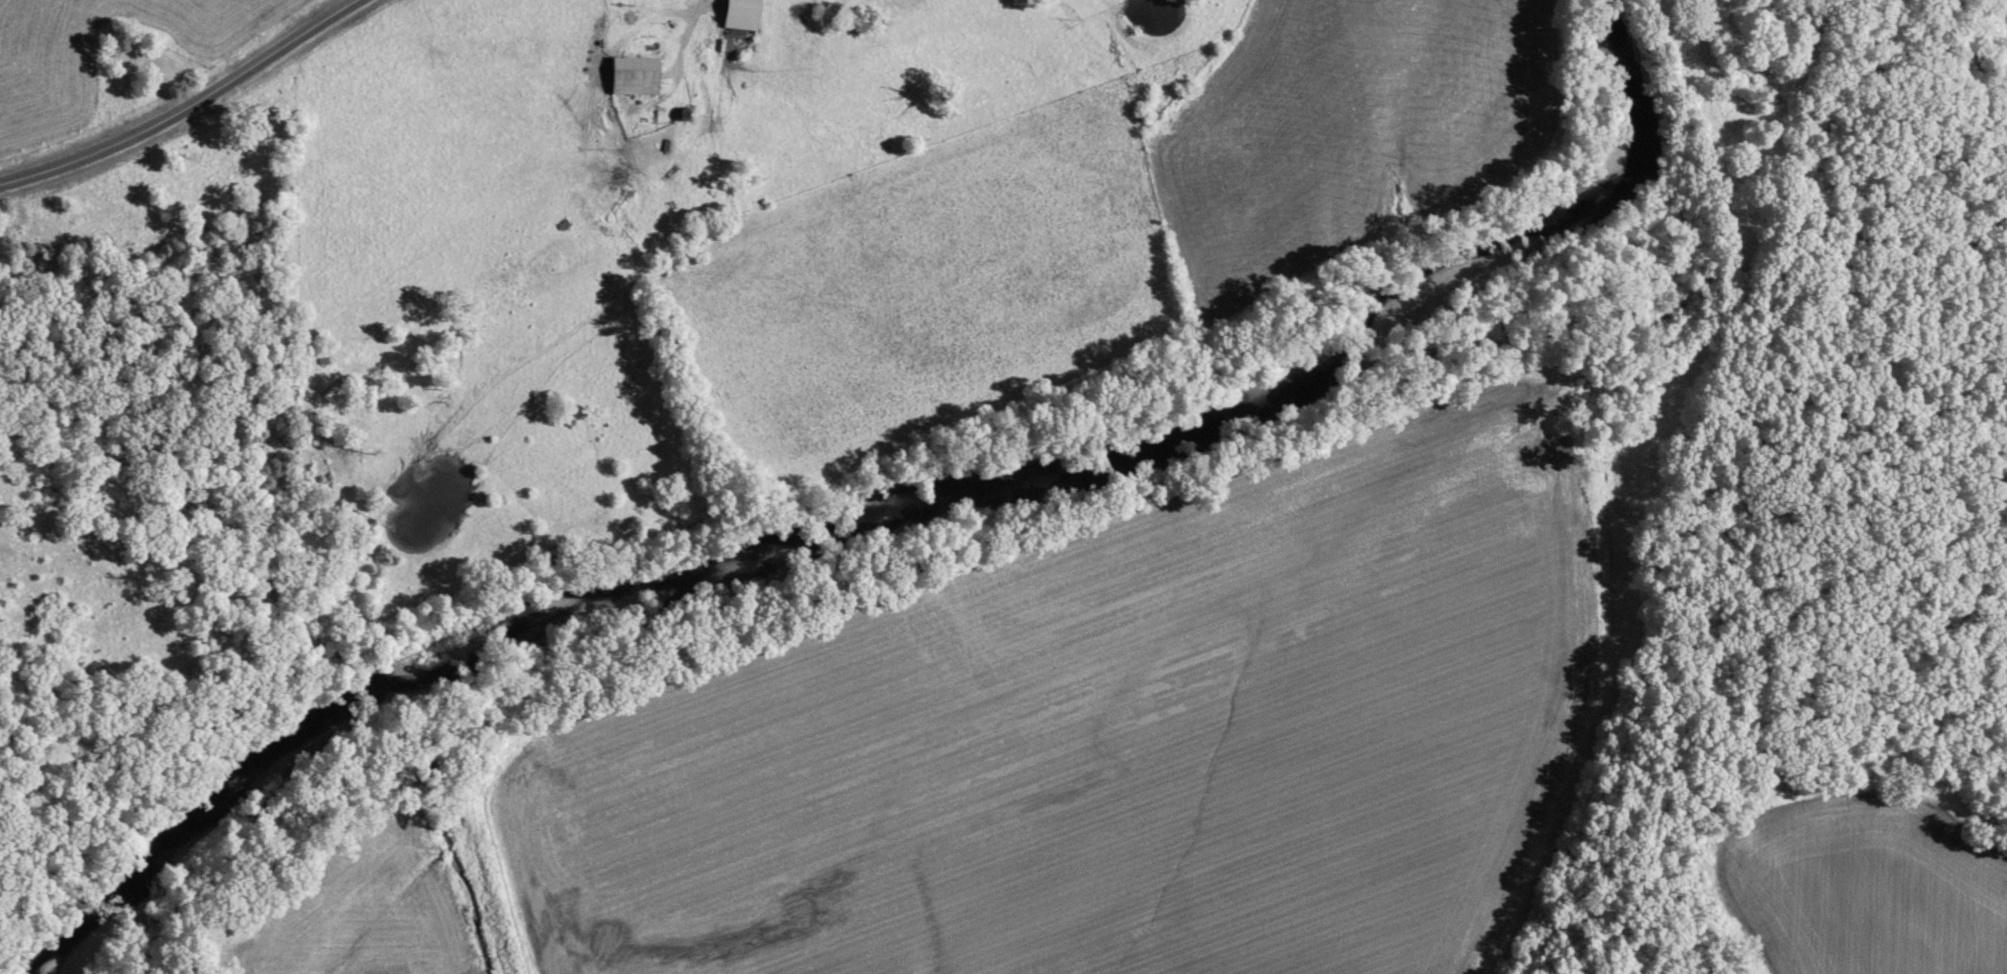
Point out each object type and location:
building: (742, 14)
park: (145, 59)
building: (635, 76)
road: (189, 108)

